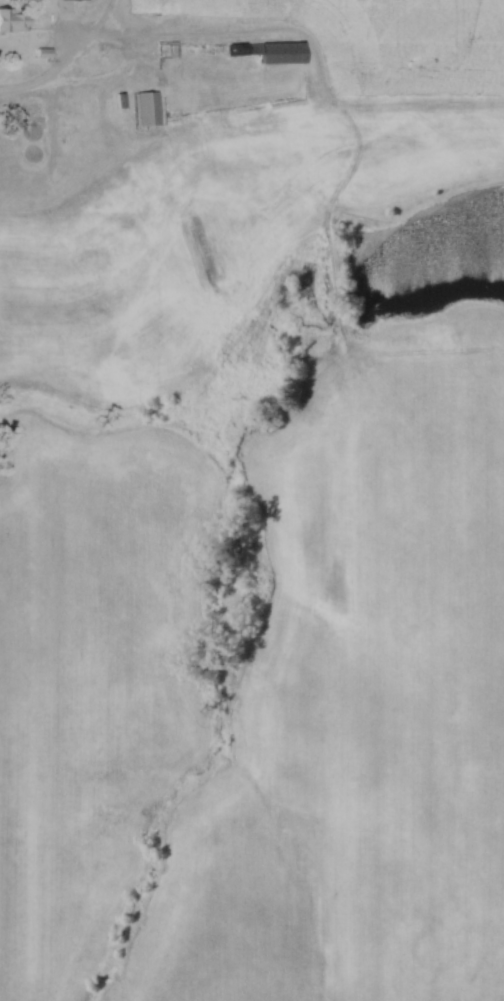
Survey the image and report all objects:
building: (11, 19)
building: (269, 51)
road: (106, 78)
road: (20, 87)
building: (147, 107)

